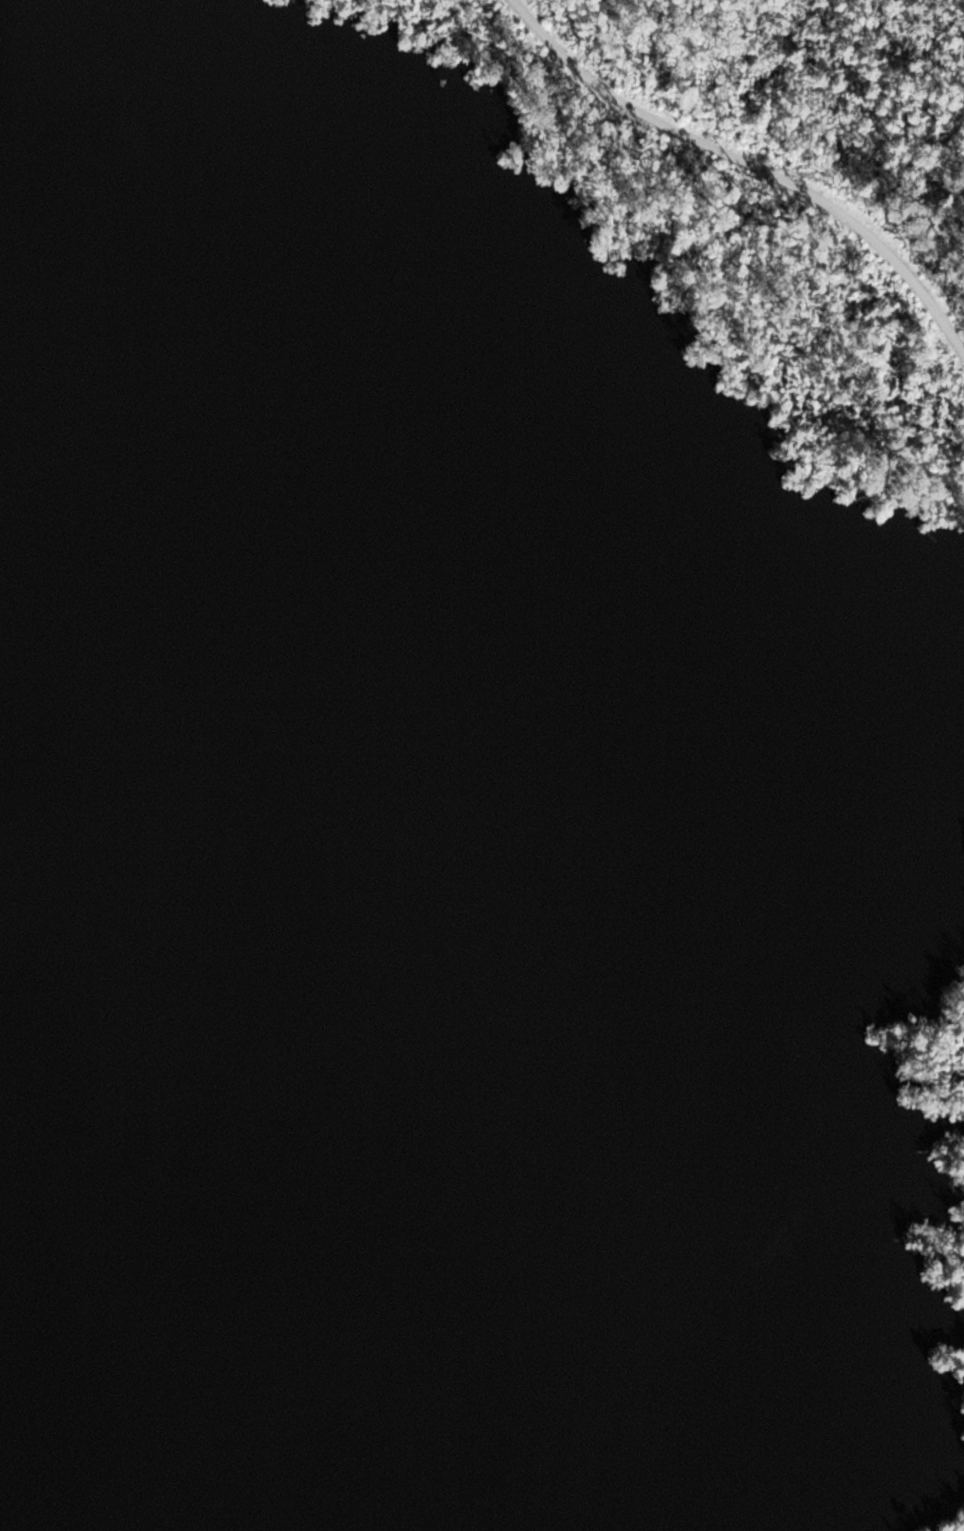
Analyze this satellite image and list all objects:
road: (751, 164)

